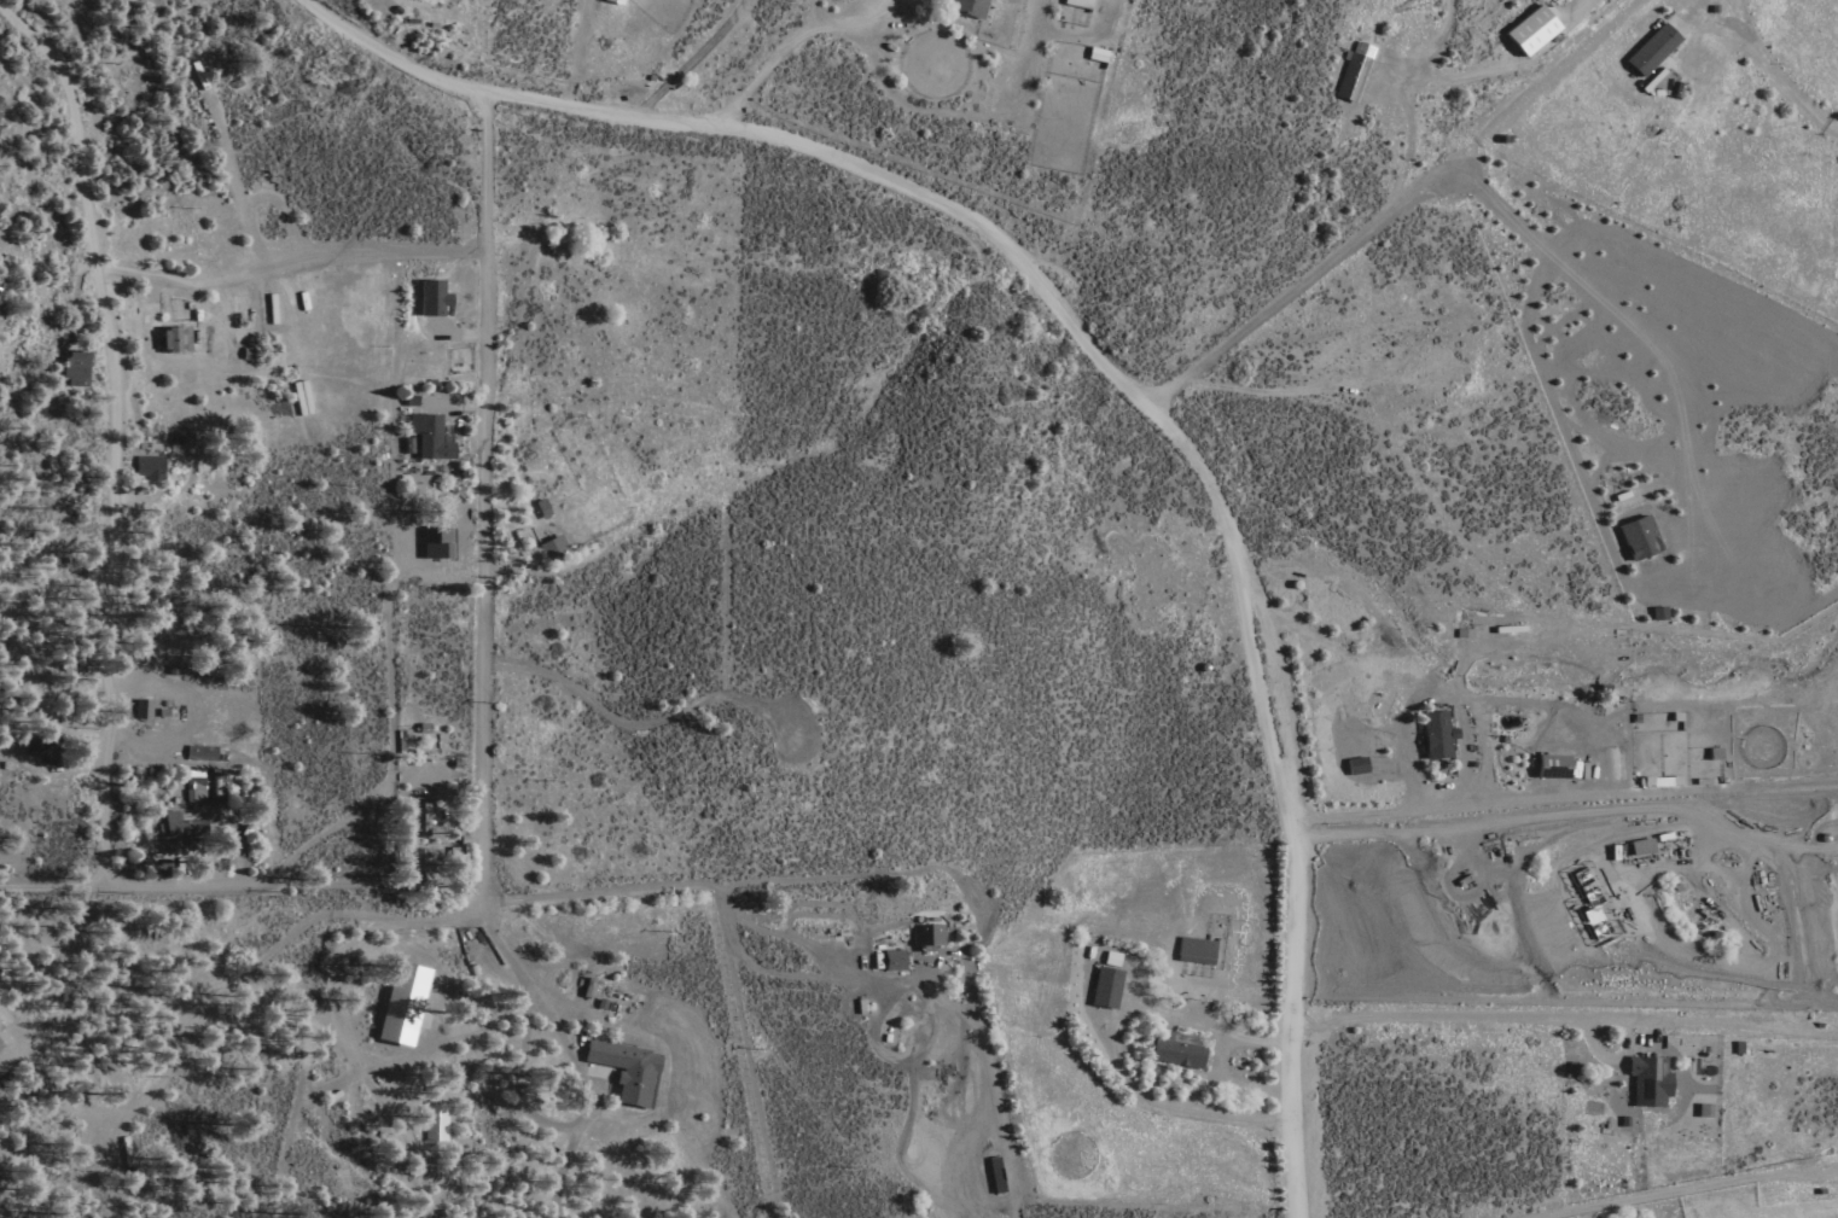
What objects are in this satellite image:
building: (622, 1)
building: (1082, 4)
building: (973, 8)
building: (1530, 31)
road: (1744, 31)
road: (796, 40)
building: (1652, 51)
building: (1103, 56)
road: (693, 59)
road: (1514, 66)
road: (1762, 68)
road: (1559, 70)
building: (1353, 71)
road: (1407, 99)
building: (5, 112)
road: (972, 121)
road: (1309, 270)
building: (441, 298)
road: (454, 337)
building: (173, 338)
road: (1104, 362)
building: (72, 366)
road: (117, 427)
building: (435, 438)
building: (147, 465)
road: (484, 501)
building: (547, 508)
road: (1694, 528)
building: (1635, 540)
building: (442, 543)
building: (558, 548)
building: (1654, 612)
building: (141, 706)
road: (1407, 724)
road: (391, 728)
building: (1437, 732)
building: (42, 745)
building: (199, 751)
building: (1552, 765)
building: (193, 783)
road: (1622, 792)
building: (418, 816)
building: (171, 824)
building: (1641, 844)
building: (6, 851)
road: (816, 879)
road: (250, 882)
road: (58, 886)
building: (931, 936)
building: (1202, 951)
building: (897, 961)
road: (251, 967)
road: (814, 980)
building: (1111, 990)
building: (401, 1001)
road: (1507, 1019)
road: (1723, 1026)
road: (343, 1031)
building: (2, 1036)
road: (1118, 1039)
building: (1182, 1051)
building: (626, 1068)
road: (1231, 1082)
building: (1648, 1082)
road: (594, 1102)
building: (435, 1120)
road: (1693, 1189)

